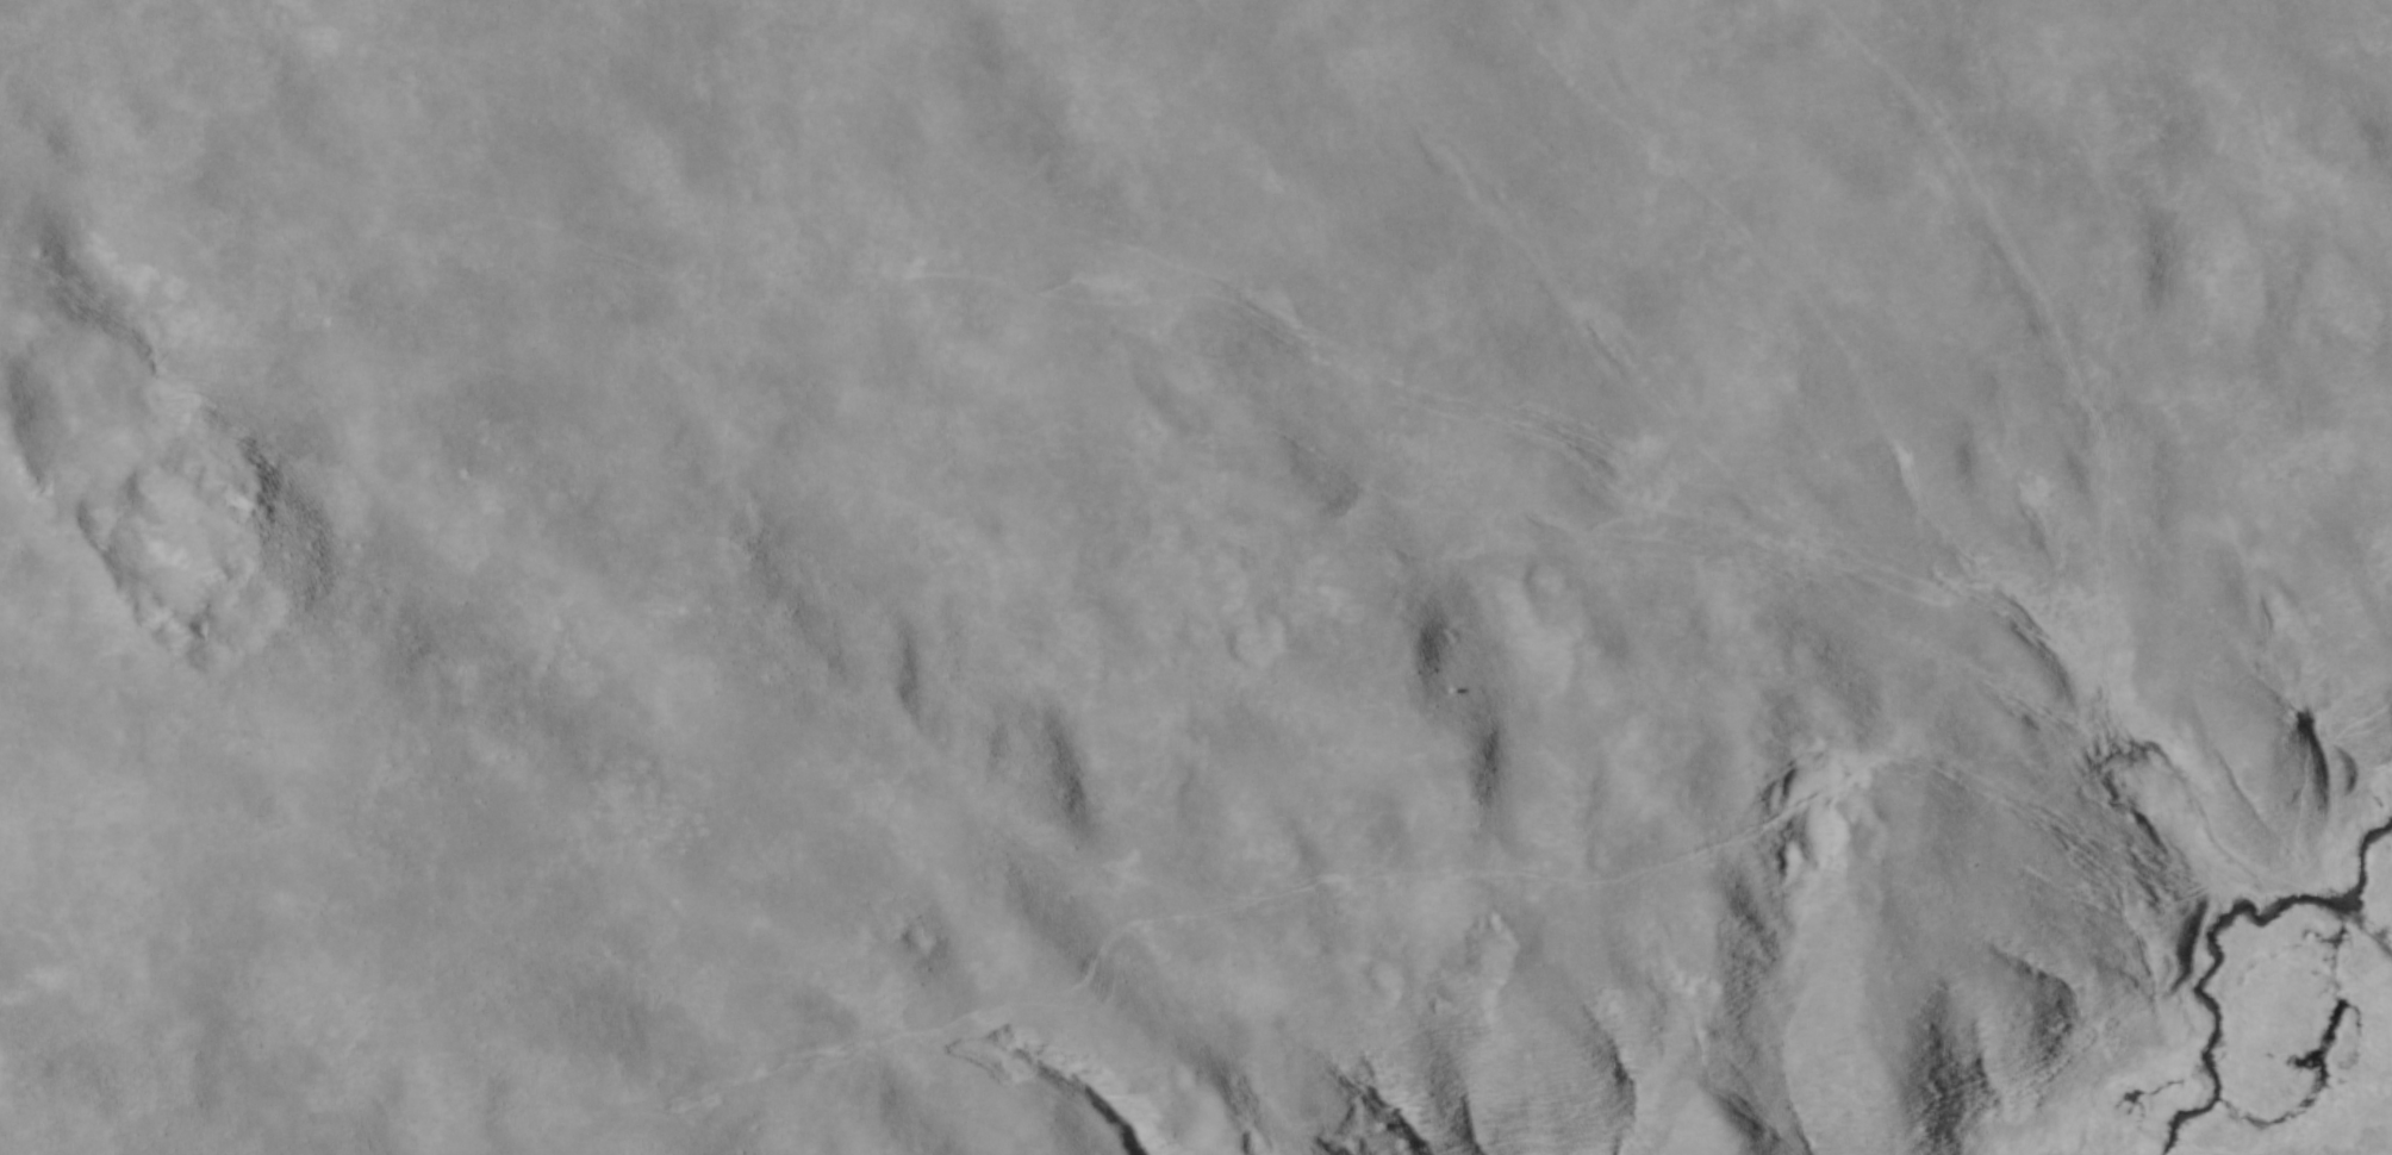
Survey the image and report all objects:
river: (2280, 1011)

